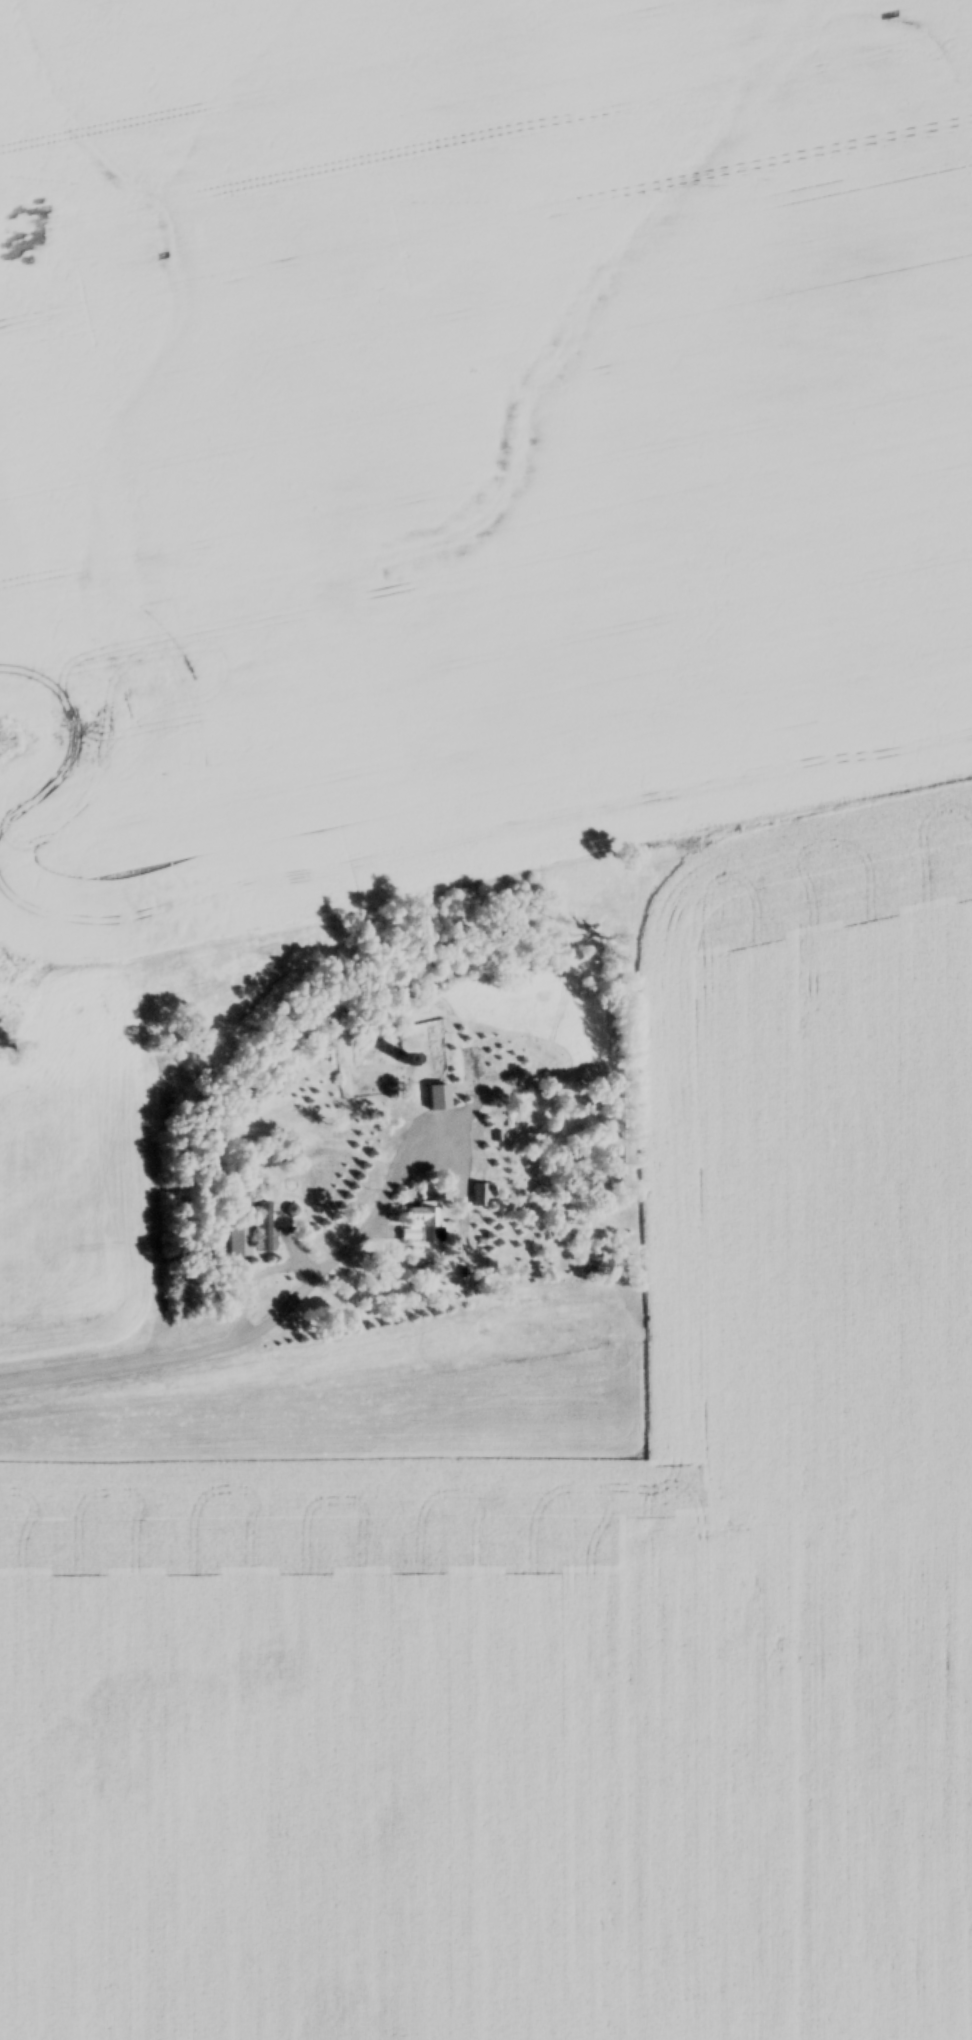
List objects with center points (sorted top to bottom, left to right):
building: (481, 1196)
building: (423, 1226)
building: (266, 1230)
road: (291, 1298)

